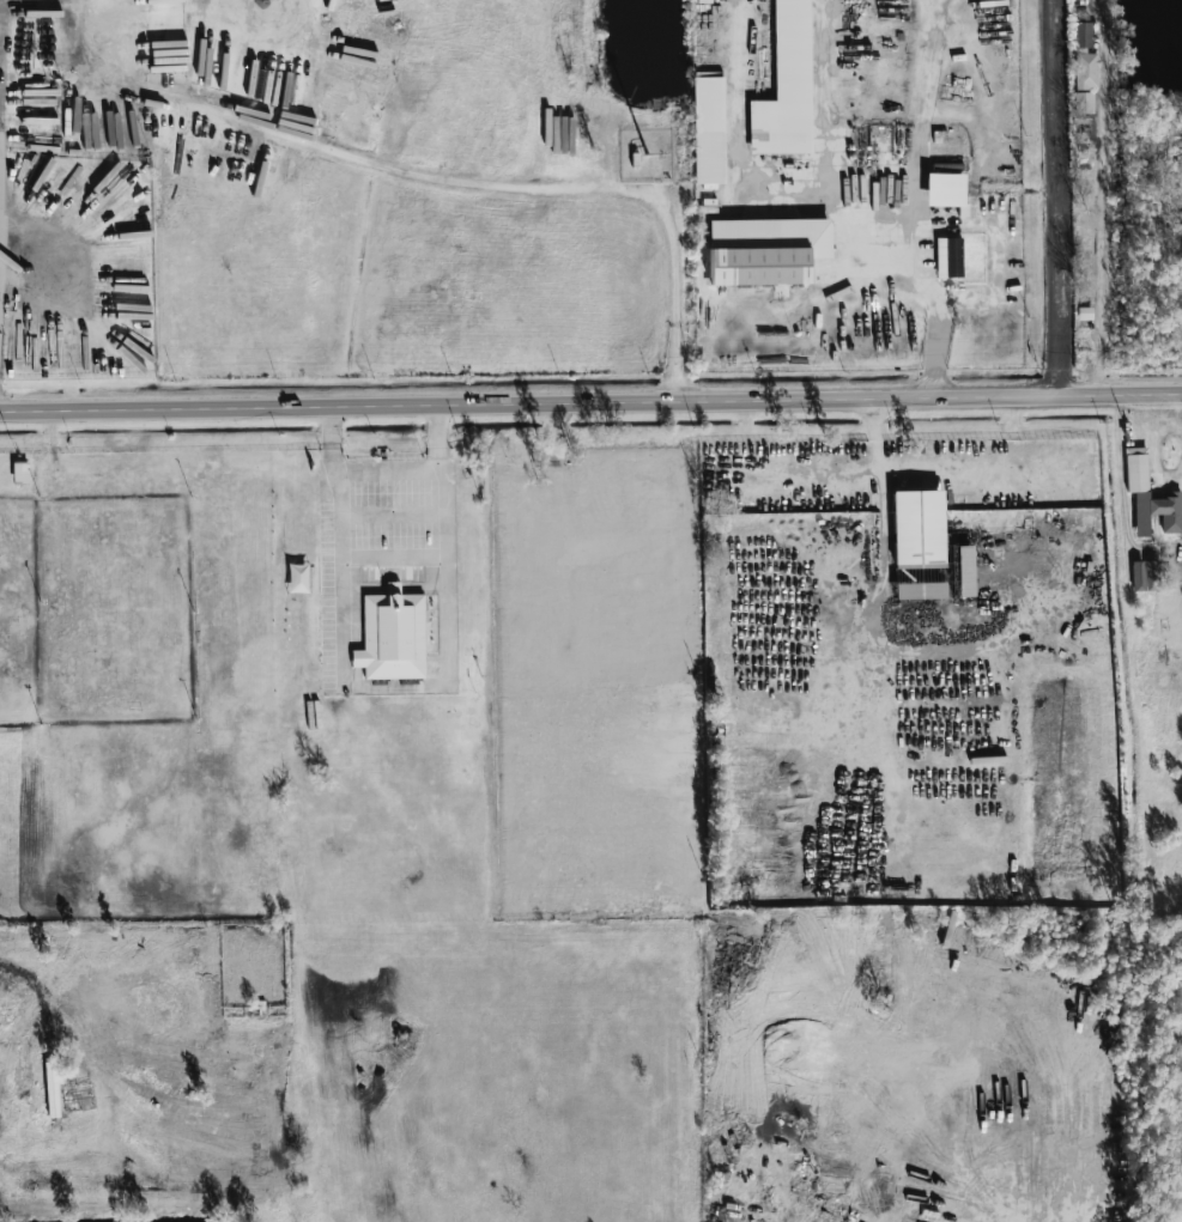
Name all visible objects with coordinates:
building: (1085, 55)
road: (1, 85)
building: (786, 86)
building: (1083, 102)
building: (709, 129)
road: (431, 176)
building: (946, 190)
road: (1059, 197)
road: (1101, 197)
road: (878, 239)
building: (766, 250)
building: (948, 256)
road: (590, 403)
road: (332, 425)
road: (442, 425)
road: (945, 466)
road: (811, 467)
building: (1136, 469)
road: (388, 470)
building: (20, 473)
building: (1168, 511)
building: (919, 545)
building: (965, 571)
building: (1152, 574)
building: (392, 637)
road: (394, 687)

